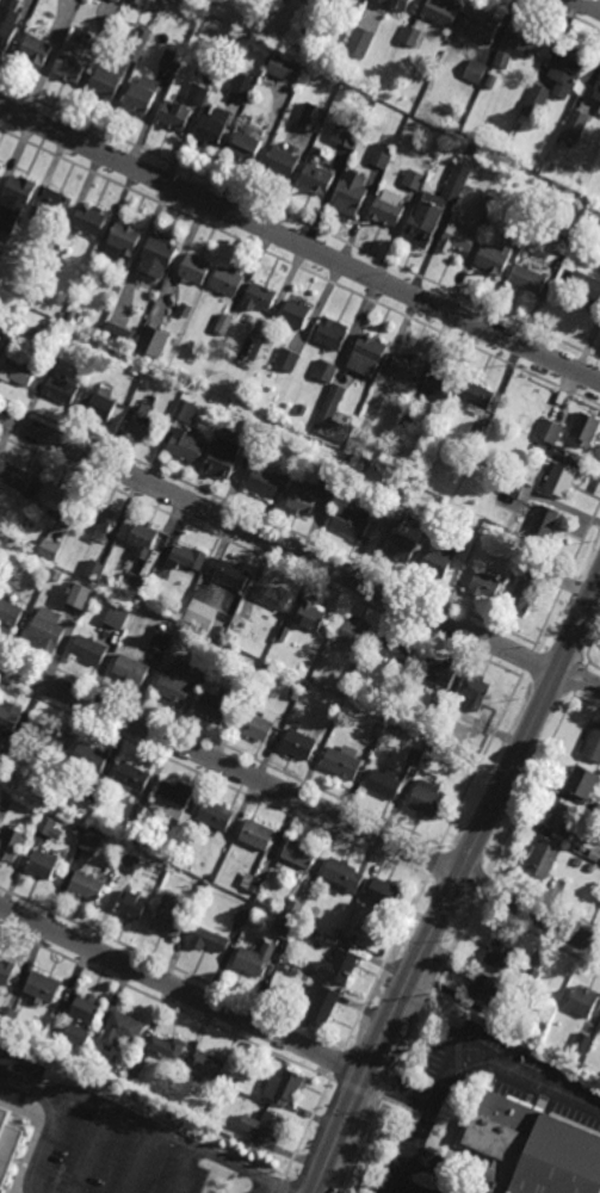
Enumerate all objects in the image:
building: (117, 0)
building: (135, 1)
building: (219, 1)
building: (398, 4)
road: (590, 4)
building: (444, 10)
building: (8, 23)
building: (481, 25)
building: (101, 33)
building: (412, 35)
building: (309, 36)
building: (360, 41)
building: (519, 45)
building: (137, 48)
building: (36, 49)
building: (74, 58)
building: (171, 60)
building: (283, 66)
building: (567, 68)
building: (475, 70)
building: (210, 78)
building: (106, 81)
building: (243, 85)
building: (142, 93)
building: (198, 93)
building: (598, 94)
building: (534, 101)
building: (599, 111)
building: (175, 115)
building: (313, 116)
building: (574, 124)
building: (214, 126)
building: (346, 135)
building: (246, 147)
building: (472, 150)
building: (383, 152)
building: (282, 161)
building: (1, 167)
building: (317, 179)
building: (415, 180)
building: (457, 183)
building: (352, 193)
building: (16, 200)
building: (487, 202)
building: (54, 208)
building: (388, 211)
building: (588, 215)
building: (528, 217)
building: (426, 220)
building: (88, 221)
building: (460, 233)
building: (124, 237)
road: (299, 243)
building: (562, 243)
building: (57, 251)
building: (159, 256)
building: (494, 258)
building: (194, 270)
building: (527, 278)
building: (228, 282)
building: (584, 285)
building: (261, 297)
building: (185, 310)
building: (296, 314)
building: (70, 316)
building: (224, 324)
building: (116, 334)
building: (333, 334)
building: (0, 338)
building: (11, 341)
building: (153, 342)
building: (250, 350)
building: (367, 356)
building: (54, 359)
building: (289, 360)
building: (406, 367)
building: (150, 369)
building: (326, 370)
building: (19, 371)
building: (438, 387)
building: (61, 390)
building: (476, 396)
building: (375, 404)
building: (97, 406)
building: (302, 409)
building: (187, 413)
building: (332, 418)
building: (409, 418)
building: (144, 422)
building: (586, 428)
building: (259, 429)
building: (550, 429)
building: (476, 431)
building: (186, 447)
building: (538, 447)
building: (224, 459)
building: (348, 460)
building: (361, 466)
building: (18, 480)
building: (333, 480)
building: (559, 480)
building: (268, 483)
building: (513, 488)
building: (403, 489)
building: (55, 499)
building: (304, 499)
building: (396, 509)
building: (101, 518)
building: (353, 521)
building: (544, 523)
building: (433, 527)
building: (444, 527)
building: (144, 536)
building: (404, 540)
building: (530, 542)
building: (50, 548)
building: (493, 551)
building: (187, 554)
road: (298, 554)
building: (1, 557)
building: (438, 558)
building: (94, 569)
building: (228, 570)
building: (56, 574)
building: (157, 576)
road: (567, 576)
building: (135, 583)
building: (484, 585)
building: (524, 589)
building: (80, 593)
building: (273, 593)
building: (10, 612)
building: (311, 613)
building: (117, 614)
building: (199, 616)
building: (48, 626)
building: (221, 629)
building: (284, 632)
building: (355, 632)
building: (188, 633)
building: (161, 639)
building: (89, 648)
road: (589, 648)
building: (396, 649)
building: (261, 651)
building: (203, 665)
building: (358, 667)
building: (131, 668)
building: (438, 670)
building: (246, 679)
building: (174, 681)
building: (296, 690)
building: (475, 690)
building: (212, 705)
building: (335, 710)
building: (435, 710)
building: (8, 719)
building: (259, 723)
building: (377, 730)
building: (443, 735)
building: (45, 740)
building: (298, 743)
building: (593, 743)
building: (438, 748)
building: (415, 754)
building: (91, 755)
building: (6, 760)
building: (344, 761)
road: (480, 761)
building: (47, 773)
building: (131, 774)
building: (581, 780)
road: (216, 781)
building: (385, 781)
road: (533, 784)
building: (93, 790)
building: (11, 791)
building: (427, 797)
building: (173, 798)
road: (302, 799)
building: (598, 809)
building: (136, 811)
building: (216, 814)
building: (564, 817)
building: (47, 824)
building: (0, 828)
building: (78, 829)
building: (258, 834)
building: (91, 840)
building: (135, 840)
building: (12, 842)
building: (299, 852)
building: (594, 854)
building: (542, 858)
road: (431, 861)
building: (577, 861)
building: (44, 863)
building: (130, 864)
building: (590, 867)
building: (344, 873)
road: (454, 879)
building: (253, 882)
building: (87, 885)
building: (205, 885)
road: (483, 885)
road: (451, 889)
building: (384, 892)
building: (227, 896)
building: (132, 903)
building: (295, 908)
building: (242, 915)
building: (169, 916)
building: (286, 928)
building: (302, 929)
building: (336, 931)
road: (534, 934)
road: (456, 938)
building: (210, 939)
building: (499, 954)
building: (255, 958)
road: (384, 962)
building: (340, 966)
building: (6, 971)
building: (531, 977)
building: (42, 987)
building: (488, 989)
road: (181, 990)
building: (581, 1001)
building: (322, 1003)
road: (168, 1005)
building: (86, 1007)
building: (122, 1027)
building: (76, 1033)
building: (582, 1044)
building: (167, 1047)
building: (91, 1053)
road: (335, 1063)
building: (208, 1065)
road: (464, 1068)
building: (136, 1069)
building: (230, 1082)
building: (286, 1088)
road: (355, 1089)
road: (398, 1089)
road: (104, 1104)
road: (396, 1105)
building: (0, 1113)
building: (214, 1117)
road: (427, 1117)
road: (451, 1123)
building: (266, 1125)
road: (307, 1127)
road: (51, 1139)
building: (532, 1149)
road: (434, 1168)
road: (246, 1170)
road: (284, 1192)
road: (291, 1192)

